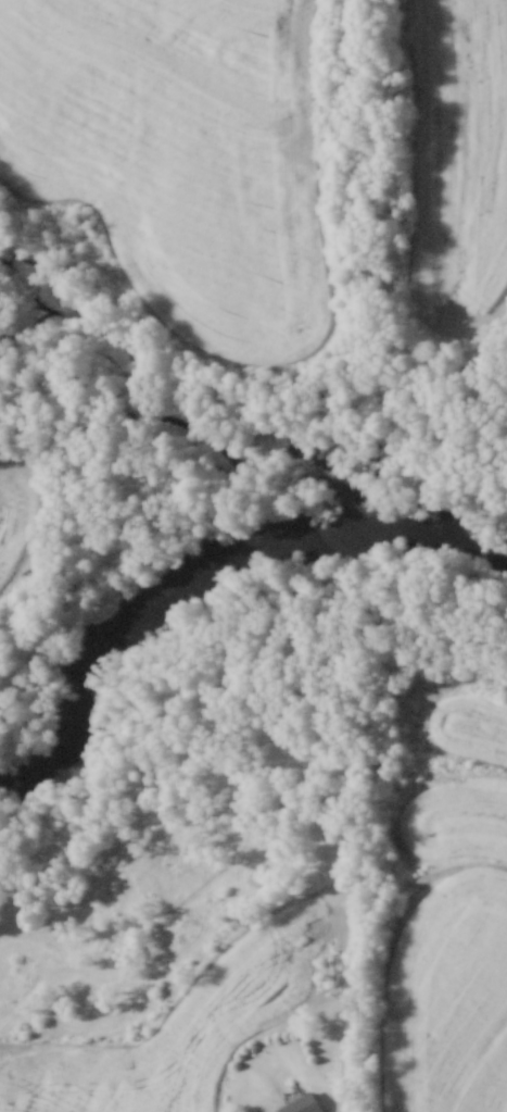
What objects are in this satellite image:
building: (302, 1104)

